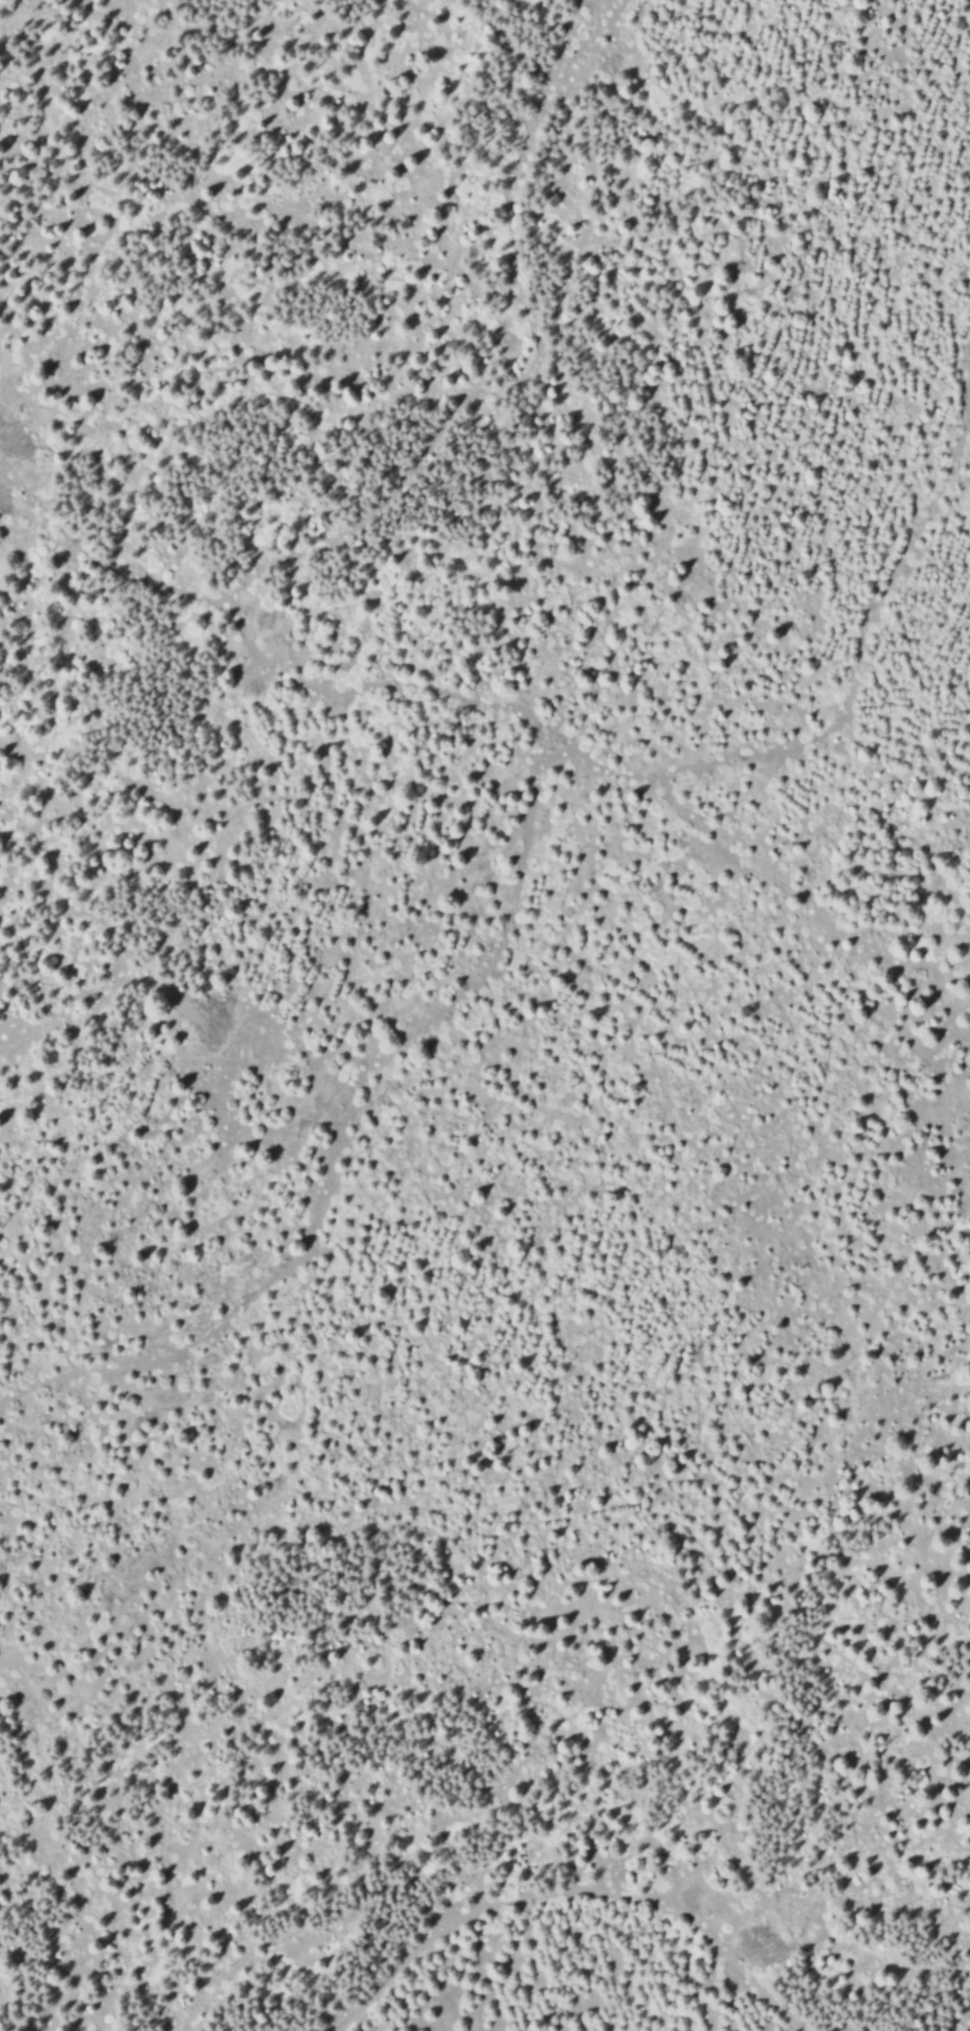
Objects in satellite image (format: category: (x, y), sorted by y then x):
road: (524, 367)
road: (556, 739)
road: (340, 1132)
road: (574, 1895)

